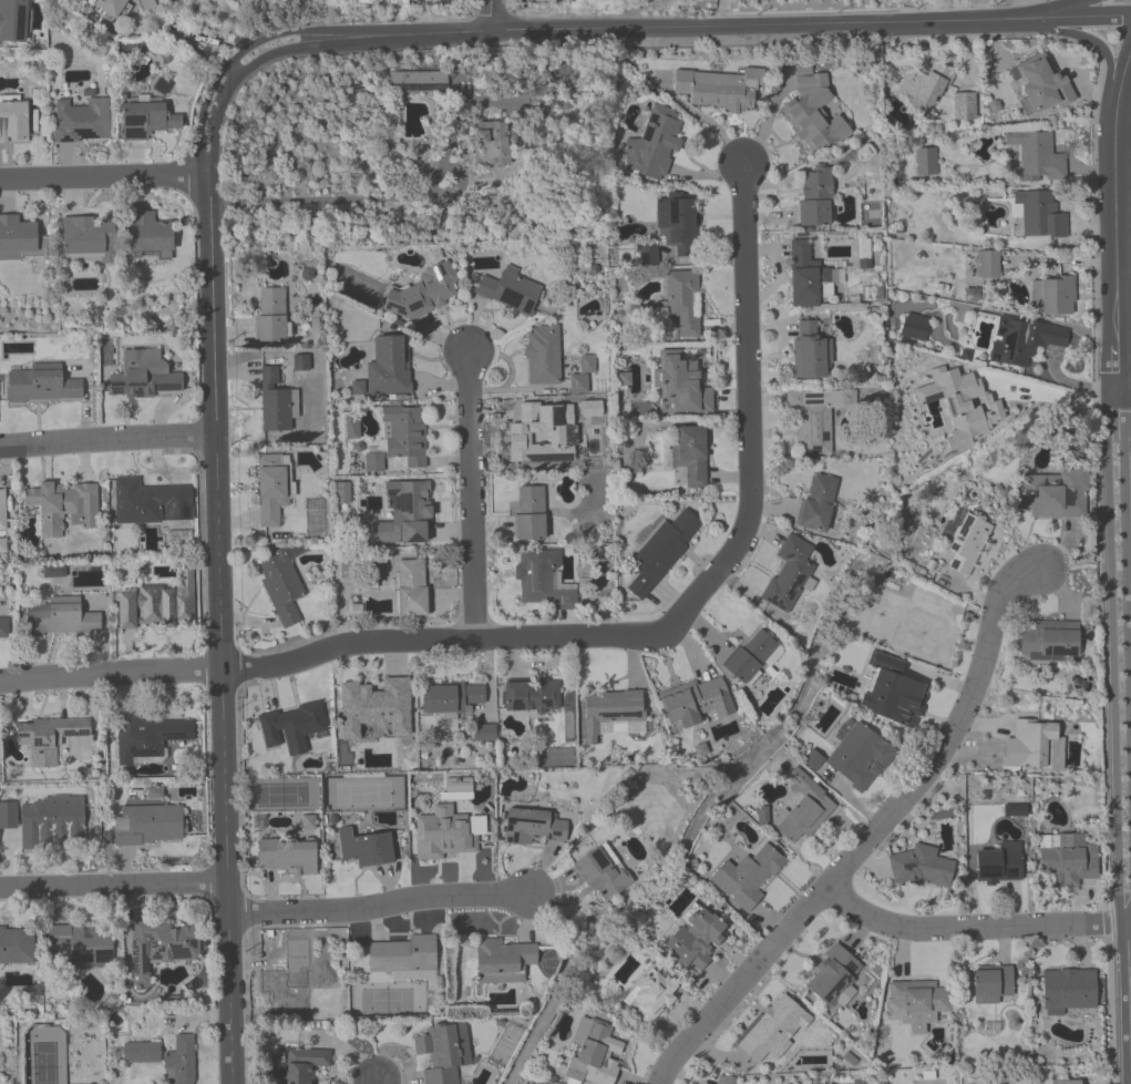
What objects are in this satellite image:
building: (237, 0)
building: (111, 7)
road: (1061, 9)
road: (984, 10)
road: (724, 13)
road: (492, 16)
building: (12, 20)
road: (677, 28)
road: (1083, 38)
building: (926, 81)
building: (419, 82)
building: (1041, 82)
building: (719, 88)
building: (963, 105)
building: (812, 110)
building: (147, 120)
building: (82, 121)
building: (13, 122)
building: (495, 142)
building: (654, 143)
building: (1036, 155)
building: (924, 161)
road: (103, 178)
building: (814, 196)
building: (1039, 214)
road: (1111, 217)
building: (677, 222)
building: (150, 234)
building: (16, 237)
building: (90, 238)
building: (988, 263)
building: (805, 275)
building: (510, 290)
building: (422, 292)
building: (1059, 295)
building: (682, 299)
building: (269, 315)
building: (914, 328)
building: (1022, 339)
building: (809, 351)
building: (542, 355)
building: (388, 365)
building: (143, 375)
building: (679, 384)
road: (1024, 384)
building: (42, 385)
road: (1122, 389)
building: (273, 401)
building: (960, 403)
building: (813, 430)
building: (542, 432)
building: (404, 433)
road: (106, 441)
building: (690, 454)
building: (1053, 492)
building: (269, 493)
road: (471, 495)
building: (146, 500)
building: (816, 502)
building: (63, 507)
road: (749, 508)
building: (2, 511)
building: (403, 512)
building: (529, 513)
building: (967, 543)
building: (660, 551)
road: (217, 572)
building: (788, 572)
building: (541, 579)
building: (280, 585)
building: (411, 587)
road: (1125, 597)
building: (160, 602)
building: (62, 617)
building: (4, 626)
building: (1048, 640)
building: (749, 655)
road: (1112, 655)
road: (238, 668)
building: (891, 689)
building: (449, 696)
building: (533, 699)
building: (695, 700)
building: (374, 709)
building: (609, 709)
building: (291, 724)
building: (485, 733)
building: (145, 735)
building: (49, 737)
building: (1032, 744)
building: (860, 755)
building: (803, 807)
building: (146, 824)
building: (54, 825)
building: (534, 827)
building: (448, 832)
road: (873, 837)
building: (366, 847)
building: (287, 856)
building: (1068, 858)
building: (998, 862)
building: (919, 866)
building: (603, 873)
building: (748, 875)
road: (113, 884)
road: (379, 907)
road: (1129, 913)
road: (971, 927)
building: (693, 934)
building: (83, 943)
building: (17, 945)
building: (162, 947)
building: (402, 954)
building: (503, 955)
road: (1128, 955)
building: (833, 975)
building: (287, 976)
building: (990, 982)
building: (1068, 988)
building: (650, 995)
building: (914, 1003)
road: (1130, 1003)
building: (773, 1029)
building: (142, 1054)
building: (439, 1054)
building: (594, 1055)
building: (181, 1061)
building: (305, 1064)
building: (723, 1080)
road: (373, 1082)
building: (1066, 1082)

